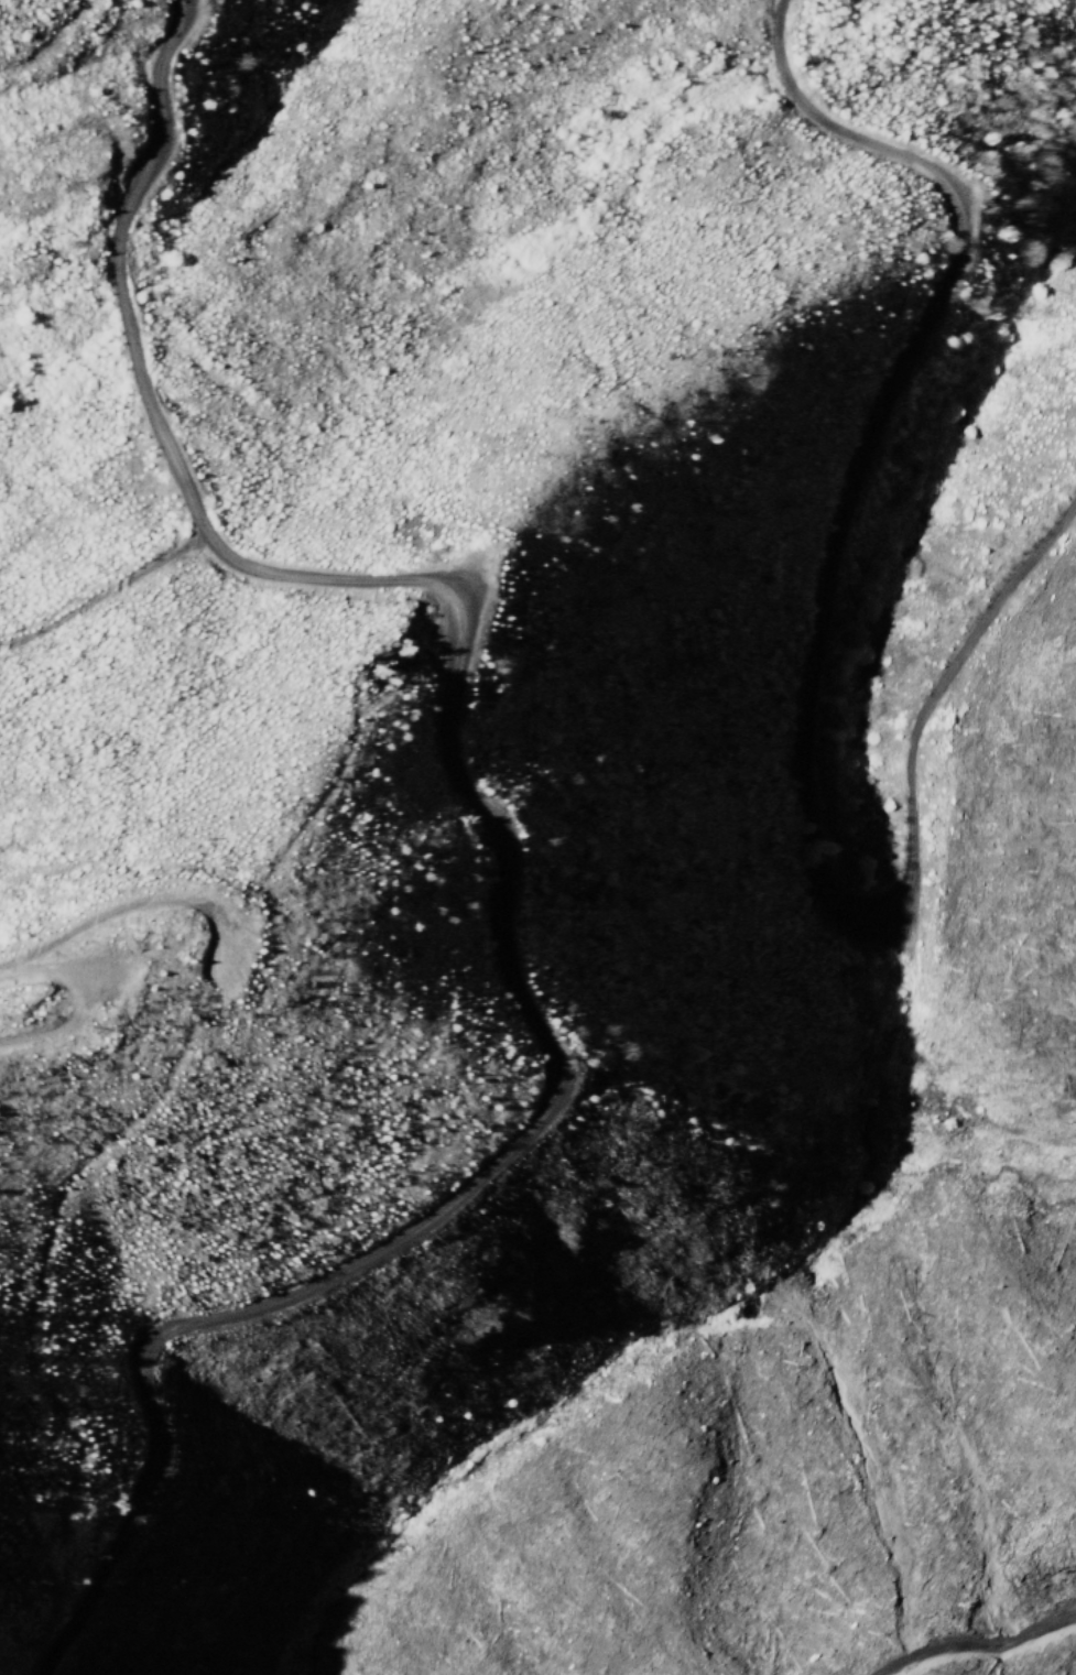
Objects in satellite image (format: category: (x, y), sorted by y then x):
road: (97, 585)
road: (812, 654)
road: (497, 847)

